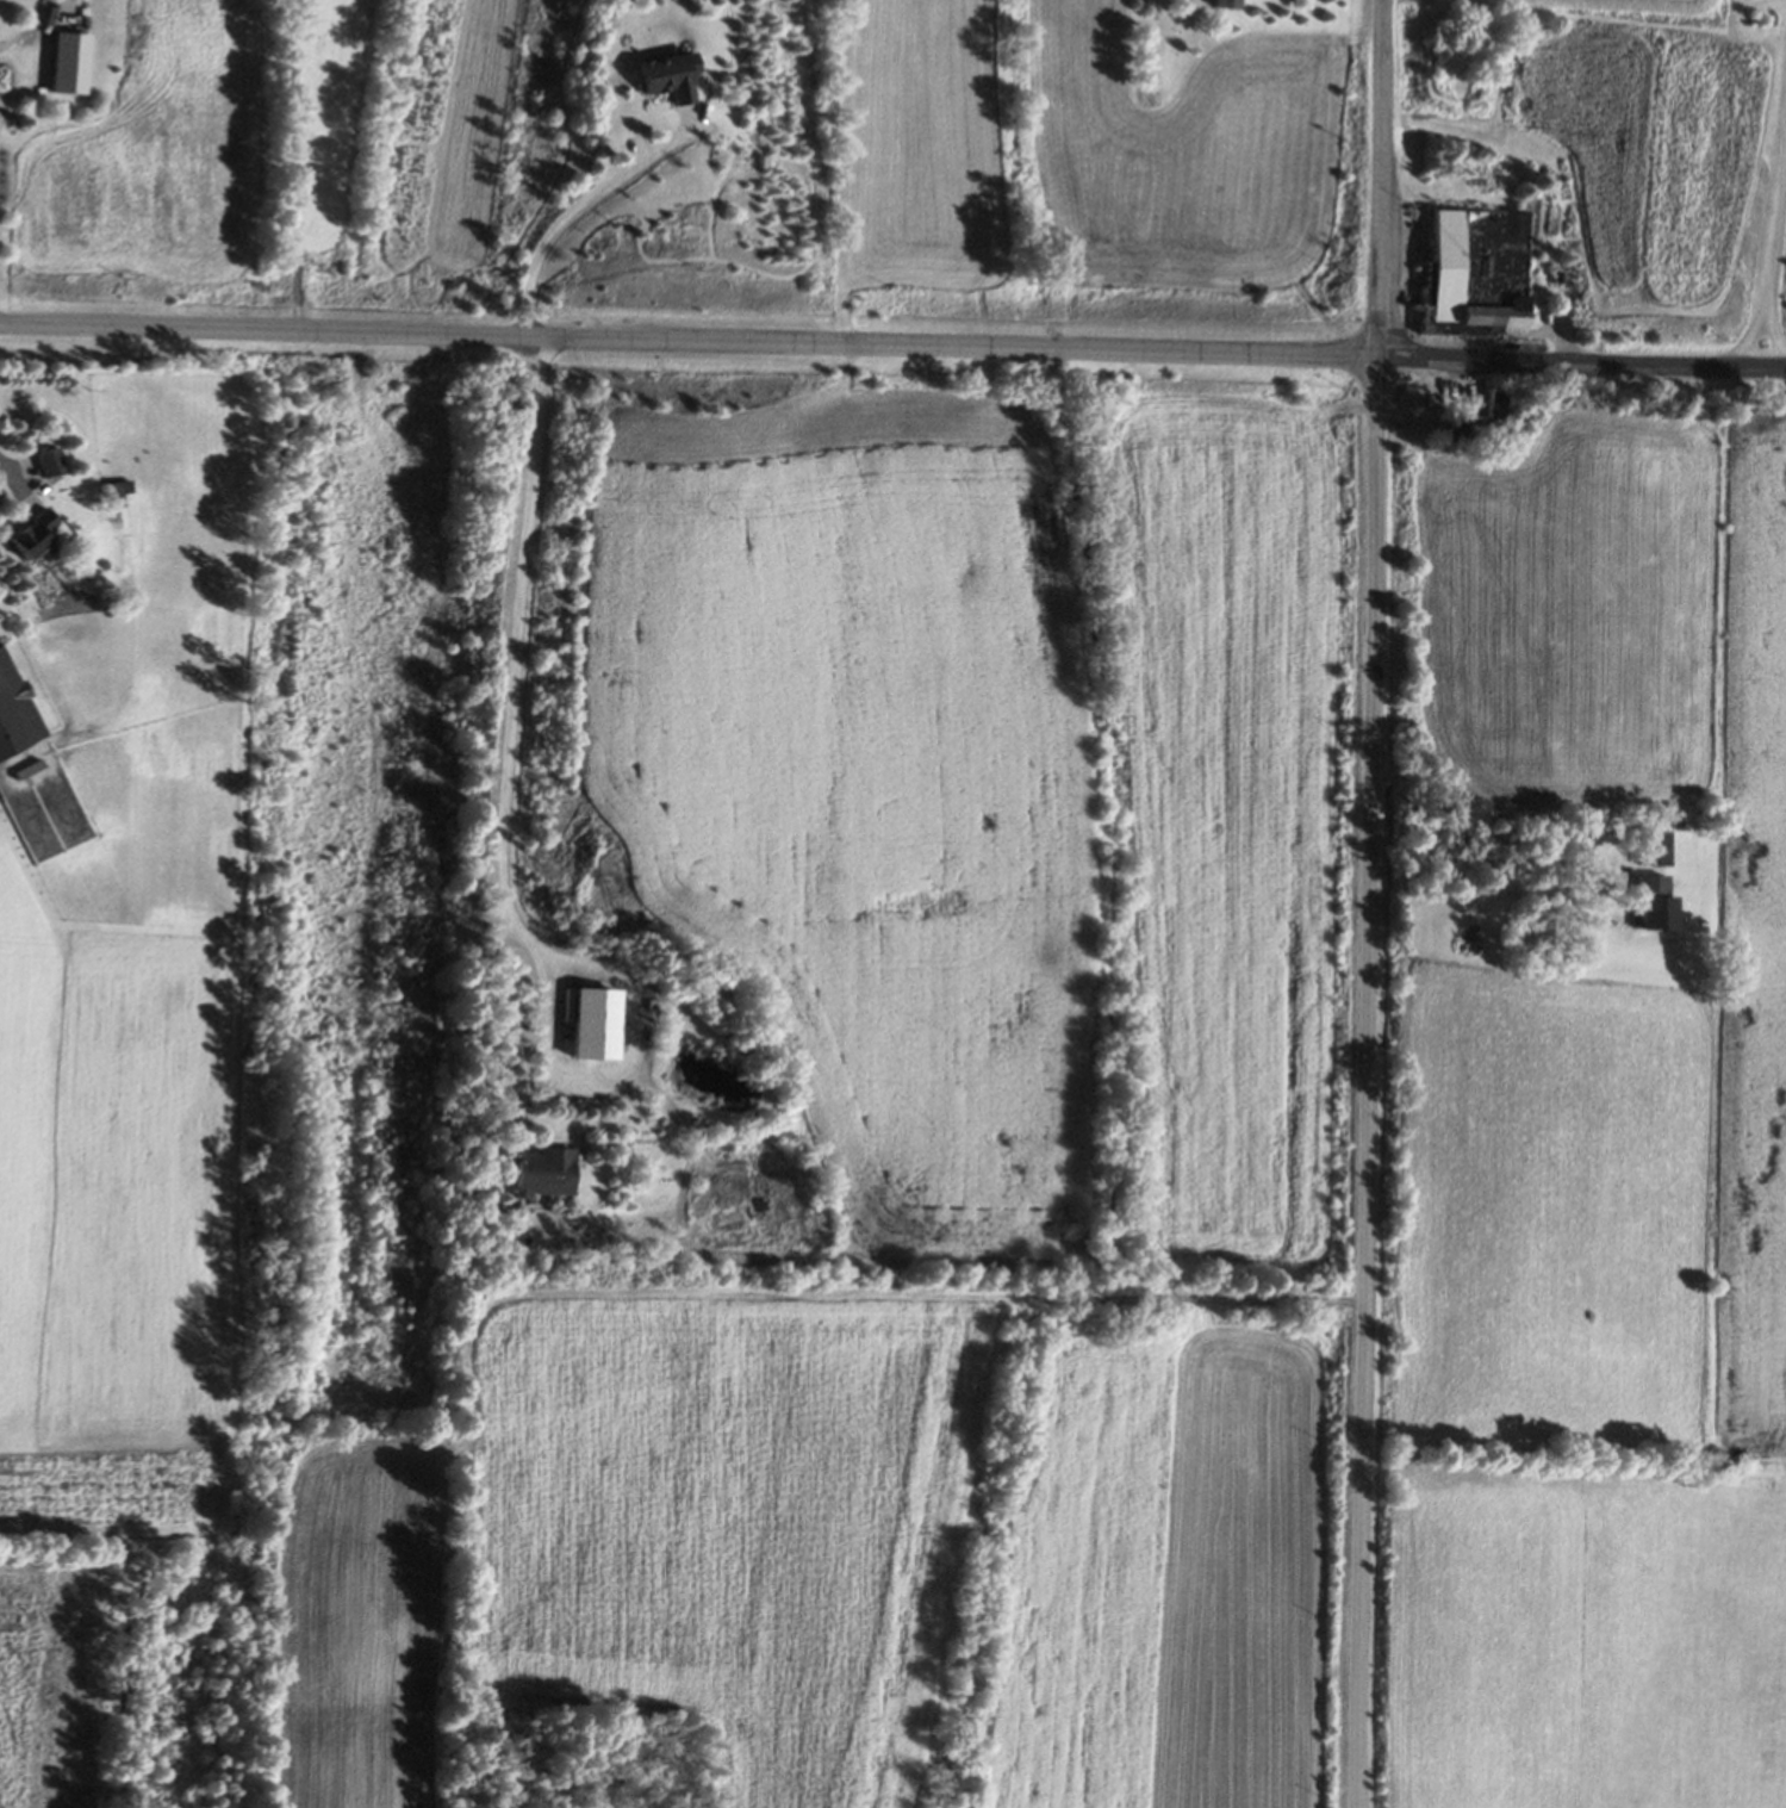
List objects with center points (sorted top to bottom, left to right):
building: (1224, 5)
building: (54, 62)
building: (662, 80)
road: (577, 213)
road: (1779, 246)
building: (1475, 272)
road: (1765, 322)
road: (892, 346)
building: (1485, 422)
building: (44, 466)
road: (11, 479)
building: (113, 495)
building: (25, 538)
building: (13, 715)
building: (1648, 852)
road: (1371, 903)
building: (1650, 905)
road: (496, 932)
building: (590, 1026)
building: (536, 1175)

